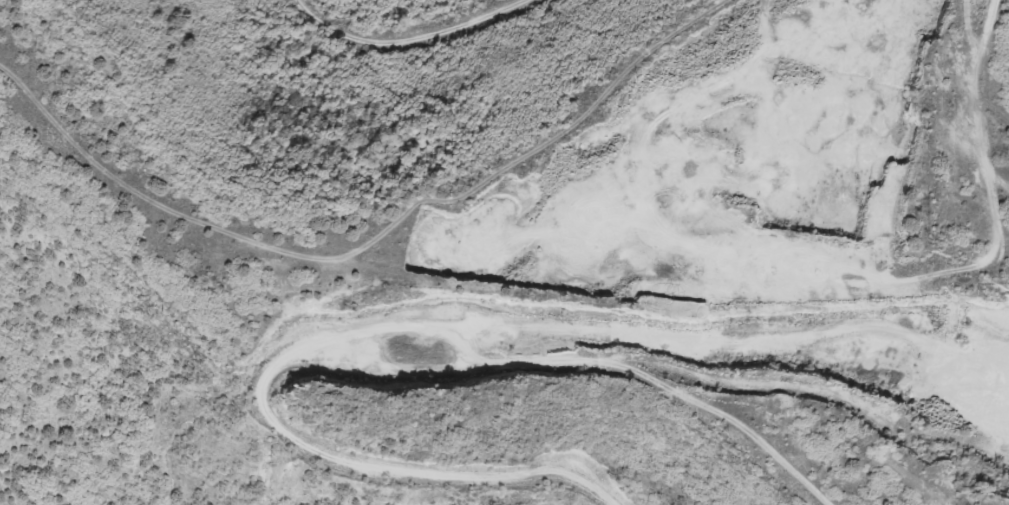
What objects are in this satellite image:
road: (967, 108)
road: (480, 220)

